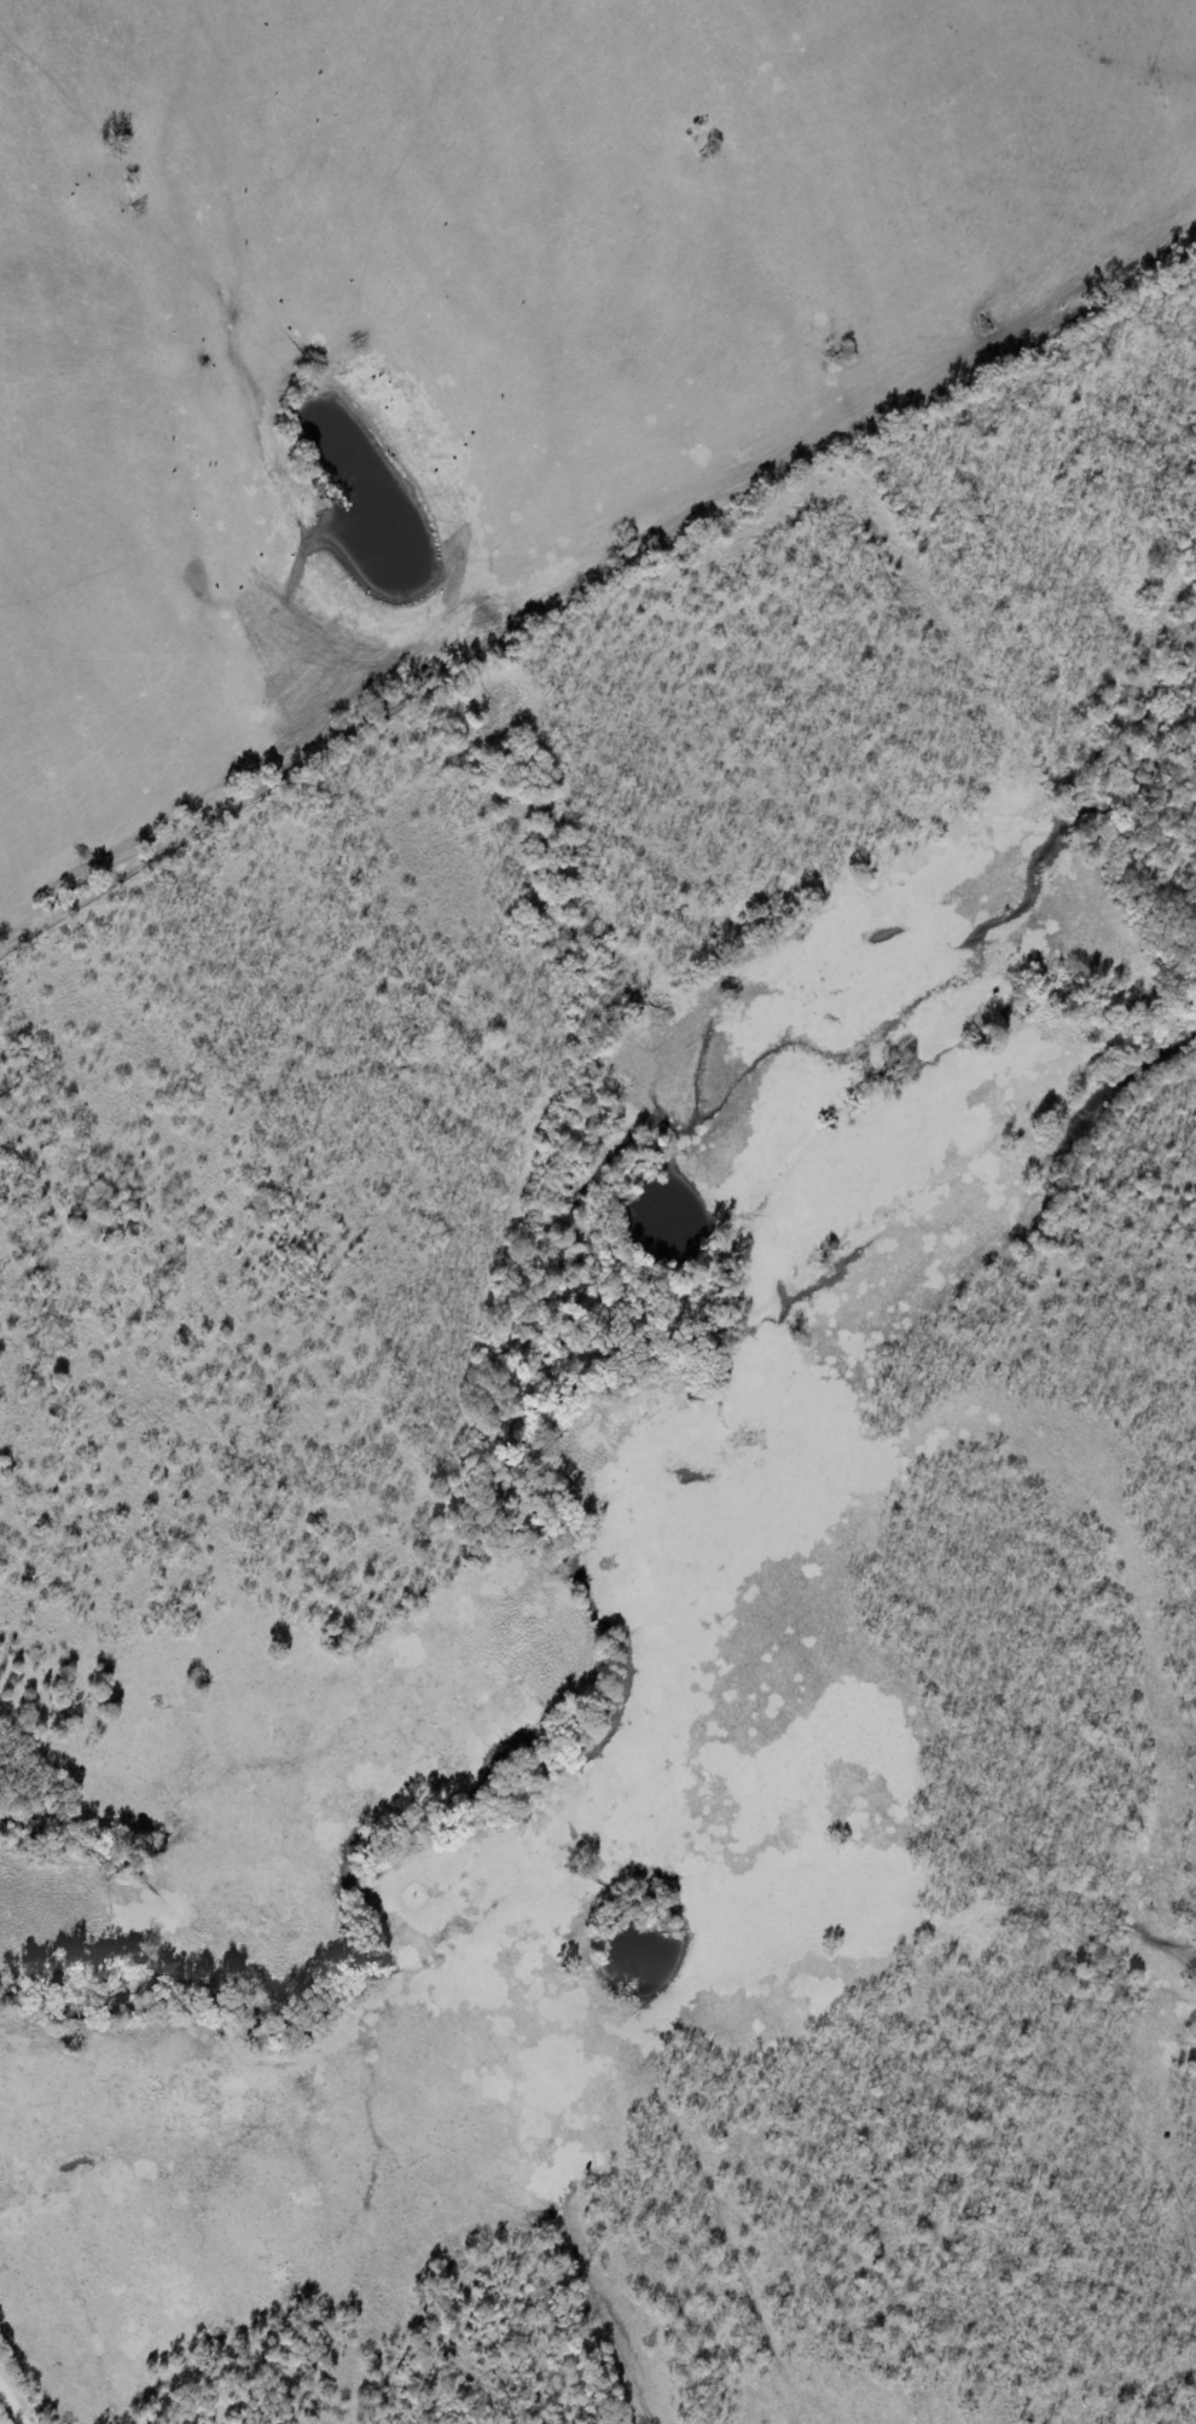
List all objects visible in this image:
road: (16, 2396)

